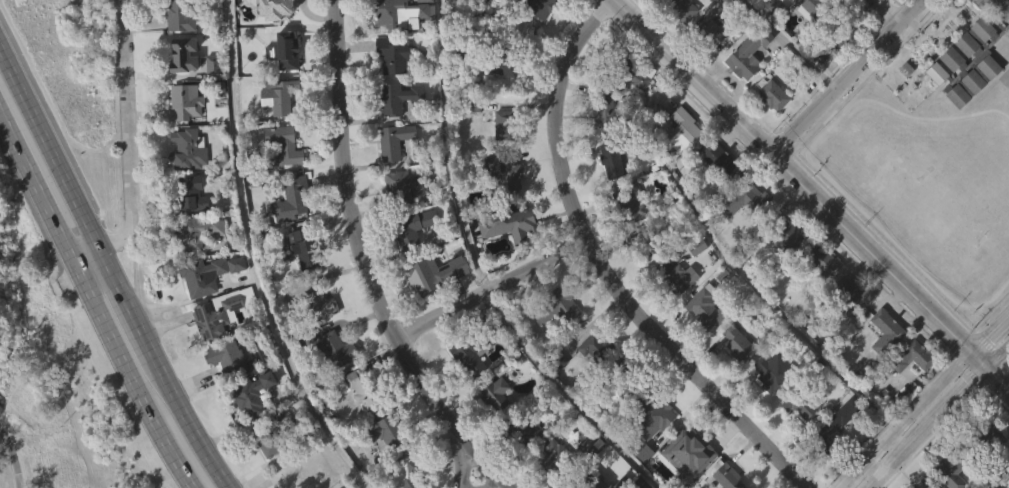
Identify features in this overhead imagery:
building: (623, 0)
building: (726, 0)
building: (767, 2)
building: (503, 3)
building: (902, 6)
building: (733, 7)
building: (540, 8)
building: (276, 9)
building: (385, 9)
building: (683, 9)
building: (811, 9)
road: (888, 11)
building: (654, 12)
building: (790, 16)
building: (180, 17)
building: (484, 28)
building: (838, 30)
building: (423, 31)
building: (536, 31)
building: (714, 33)
building: (276, 38)
building: (810, 42)
building: (679, 44)
road: (790, 44)
building: (287, 50)
building: (746, 52)
building: (182, 55)
building: (392, 55)
building: (500, 58)
building: (987, 63)
building: (710, 70)
building: (841, 70)
building: (624, 74)
road: (846, 78)
building: (746, 91)
building: (280, 94)
building: (771, 95)
building: (394, 97)
building: (472, 100)
building: (186, 102)
building: (210, 102)
building: (502, 104)
building: (986, 104)
building: (633, 110)
building: (934, 110)
building: (605, 114)
building: (971, 119)
building: (503, 122)
building: (770, 131)
building: (683, 132)
road: (129, 134)
building: (394, 141)
building: (472, 141)
building: (282, 146)
building: (188, 148)
road: (49, 150)
building: (609, 158)
building: (721, 160)
building: (680, 168)
building: (502, 172)
building: (281, 183)
building: (401, 186)
building: (192, 195)
building: (610, 196)
building: (718, 196)
road: (810, 197)
building: (742, 199)
building: (291, 201)
building: (628, 202)
building: (502, 208)
building: (505, 222)
building: (409, 227)
building: (201, 232)
building: (785, 233)
building: (743, 237)
building: (289, 238)
building: (628, 240)
building: (641, 240)
building: (307, 249)
road: (363, 254)
road: (87, 256)
park: (60, 258)
building: (508, 261)
building: (820, 261)
building: (410, 264)
road: (137, 269)
road: (603, 271)
building: (787, 271)
building: (427, 272)
building: (206, 275)
building: (678, 278)
building: (302, 282)
building: (694, 283)
road: (489, 288)
building: (819, 297)
building: (853, 297)
road: (95, 302)
road: (127, 302)
building: (319, 302)
building: (553, 306)
building: (704, 307)
building: (432, 309)
building: (200, 313)
building: (225, 314)
building: (675, 314)
building: (886, 325)
building: (850, 331)
building: (319, 340)
building: (736, 343)
building: (552, 345)
building: (705, 345)
building: (596, 346)
building: (337, 348)
building: (469, 348)
building: (218, 349)
building: (909, 357)
building: (231, 359)
building: (883, 368)
building: (773, 372)
building: (625, 377)
building: (736, 381)
building: (590, 384)
building: (366, 385)
building: (334, 386)
building: (224, 393)
building: (251, 393)
building: (492, 393)
building: (910, 394)
building: (467, 395)
building: (829, 399)
building: (798, 403)
road: (927, 403)
building: (770, 408)
building: (657, 412)
road: (938, 414)
road: (187, 424)
building: (359, 425)
building: (829, 427)
building: (525, 429)
building: (251, 431)
building: (494, 432)
building: (384, 433)
building: (268, 437)
building: (985, 440)
building: (797, 441)
building: (653, 453)
building: (686, 454)
road: (12, 459)
building: (835, 459)
building: (554, 461)
building: (525, 467)
building: (385, 468)
building: (950, 468)
building: (264, 474)
building: (294, 474)
building: (413, 474)
building: (991, 474)
building: (724, 475)
road: (1000, 478)
building: (685, 479)
building: (550, 483)
building: (584, 483)
building: (924, 483)
building: (338, 487)
building: (1007, 487)

